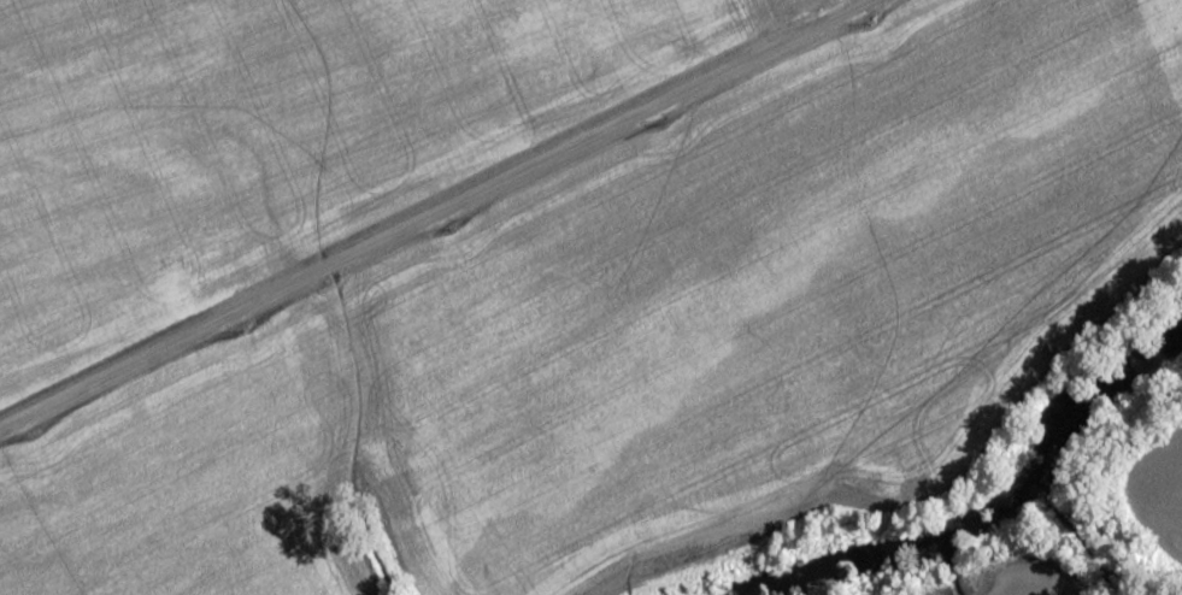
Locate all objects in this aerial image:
road: (431, 212)

